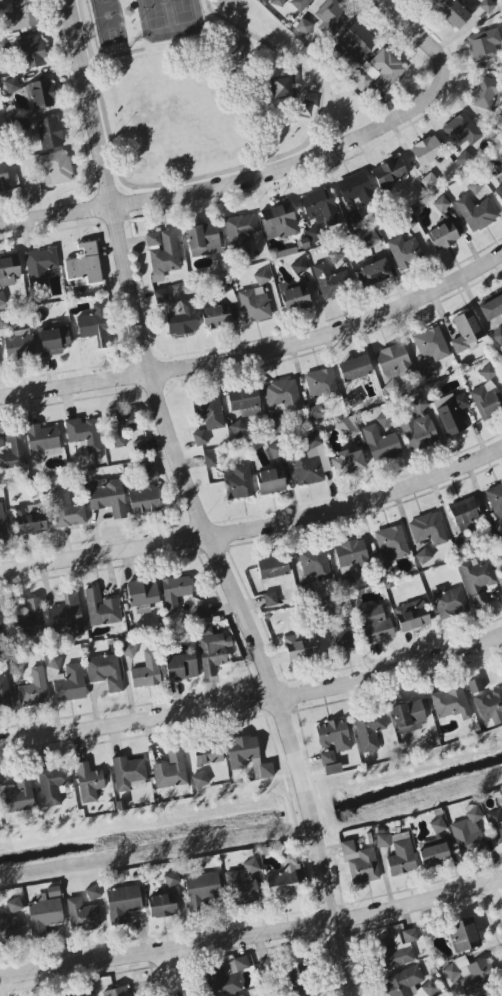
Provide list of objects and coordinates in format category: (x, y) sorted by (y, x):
building: (277, 2)
building: (5, 3)
building: (300, 4)
building: (487, 6)
building: (453, 13)
building: (21, 16)
building: (331, 17)
park: (169, 19)
park: (109, 22)
road: (415, 33)
building: (357, 44)
building: (483, 45)
building: (32, 52)
road: (118, 54)
building: (378, 71)
building: (11, 85)
building: (282, 88)
park: (207, 89)
building: (485, 93)
building: (41, 94)
building: (462, 130)
building: (46, 131)
building: (426, 151)
building: (54, 168)
road: (224, 171)
building: (389, 173)
building: (3, 176)
road: (235, 176)
building: (428, 181)
road: (117, 186)
building: (355, 189)
road: (124, 193)
building: (499, 194)
building: (441, 204)
building: (320, 213)
building: (476, 213)
building: (353, 218)
building: (278, 222)
building: (240, 233)
building: (442, 234)
building: (204, 240)
building: (370, 240)
building: (164, 252)
building: (405, 252)
building: (336, 256)
building: (39, 266)
building: (84, 266)
building: (299, 267)
building: (8, 269)
building: (373, 273)
building: (261, 278)
building: (329, 281)
building: (294, 297)
building: (2, 302)
building: (254, 305)
building: (491, 308)
building: (178, 314)
building: (216, 316)
building: (3, 323)
building: (95, 326)
building: (466, 331)
building: (497, 335)
building: (54, 341)
building: (431, 344)
building: (19, 345)
road: (259, 352)
building: (393, 361)
building: (354, 368)
building: (427, 371)
building: (487, 373)
building: (321, 386)
building: (282, 396)
building: (486, 400)
building: (244, 402)
building: (452, 412)
building: (210, 413)
building: (314, 413)
building: (121, 426)
building: (419, 427)
building: (238, 428)
building: (347, 428)
building: (83, 435)
building: (200, 438)
building: (1, 440)
building: (41, 440)
building: (382, 445)
building: (140, 446)
building: (12, 451)
building: (210, 460)
building: (347, 463)
building: (308, 464)
building: (271, 481)
building: (238, 482)
building: (144, 492)
building: (107, 496)
road: (193, 503)
building: (495, 505)
building: (66, 510)
building: (464, 514)
building: (29, 519)
building: (2, 523)
road: (256, 527)
building: (428, 529)
building: (389, 549)
building: (423, 556)
building: (350, 559)
building: (314, 563)
building: (272, 567)
building: (501, 573)
building: (478, 580)
building: (175, 593)
building: (142, 595)
building: (270, 599)
building: (449, 602)
building: (101, 609)
building: (204, 611)
building: (411, 616)
building: (67, 617)
building: (29, 619)
building: (1, 621)
building: (373, 624)
building: (343, 638)
building: (300, 648)
building: (128, 649)
building: (212, 650)
building: (53, 662)
building: (16, 667)
building: (181, 667)
building: (146, 671)
building: (105, 672)
building: (70, 685)
building: (33, 689)
building: (4, 693)
road: (253, 701)
building: (486, 702)
building: (450, 703)
building: (408, 716)
building: (368, 730)
building: (333, 736)
building: (241, 751)
building: (209, 756)
building: (327, 758)
building: (170, 769)
building: (332, 769)
building: (265, 771)
building: (127, 772)
building: (199, 780)
building: (88, 783)
building: (52, 785)
building: (18, 796)
building: (438, 826)
building: (468, 832)
building: (398, 853)
building: (434, 855)
building: (360, 864)
building: (285, 878)
building: (171, 879)
building: (243, 884)
building: (202, 889)
building: (93, 892)
road: (497, 895)
building: (122, 903)
building: (14, 905)
building: (162, 905)
building: (82, 915)
building: (43, 916)
building: (8, 928)
building: (409, 935)
building: (463, 935)
road: (252, 936)
building: (393, 952)
road: (168, 973)
building: (470, 974)
building: (224, 978)
building: (297, 978)
building: (410, 984)
road: (0, 992)
building: (117, 992)
building: (492, 994)
building: (241, 995)

